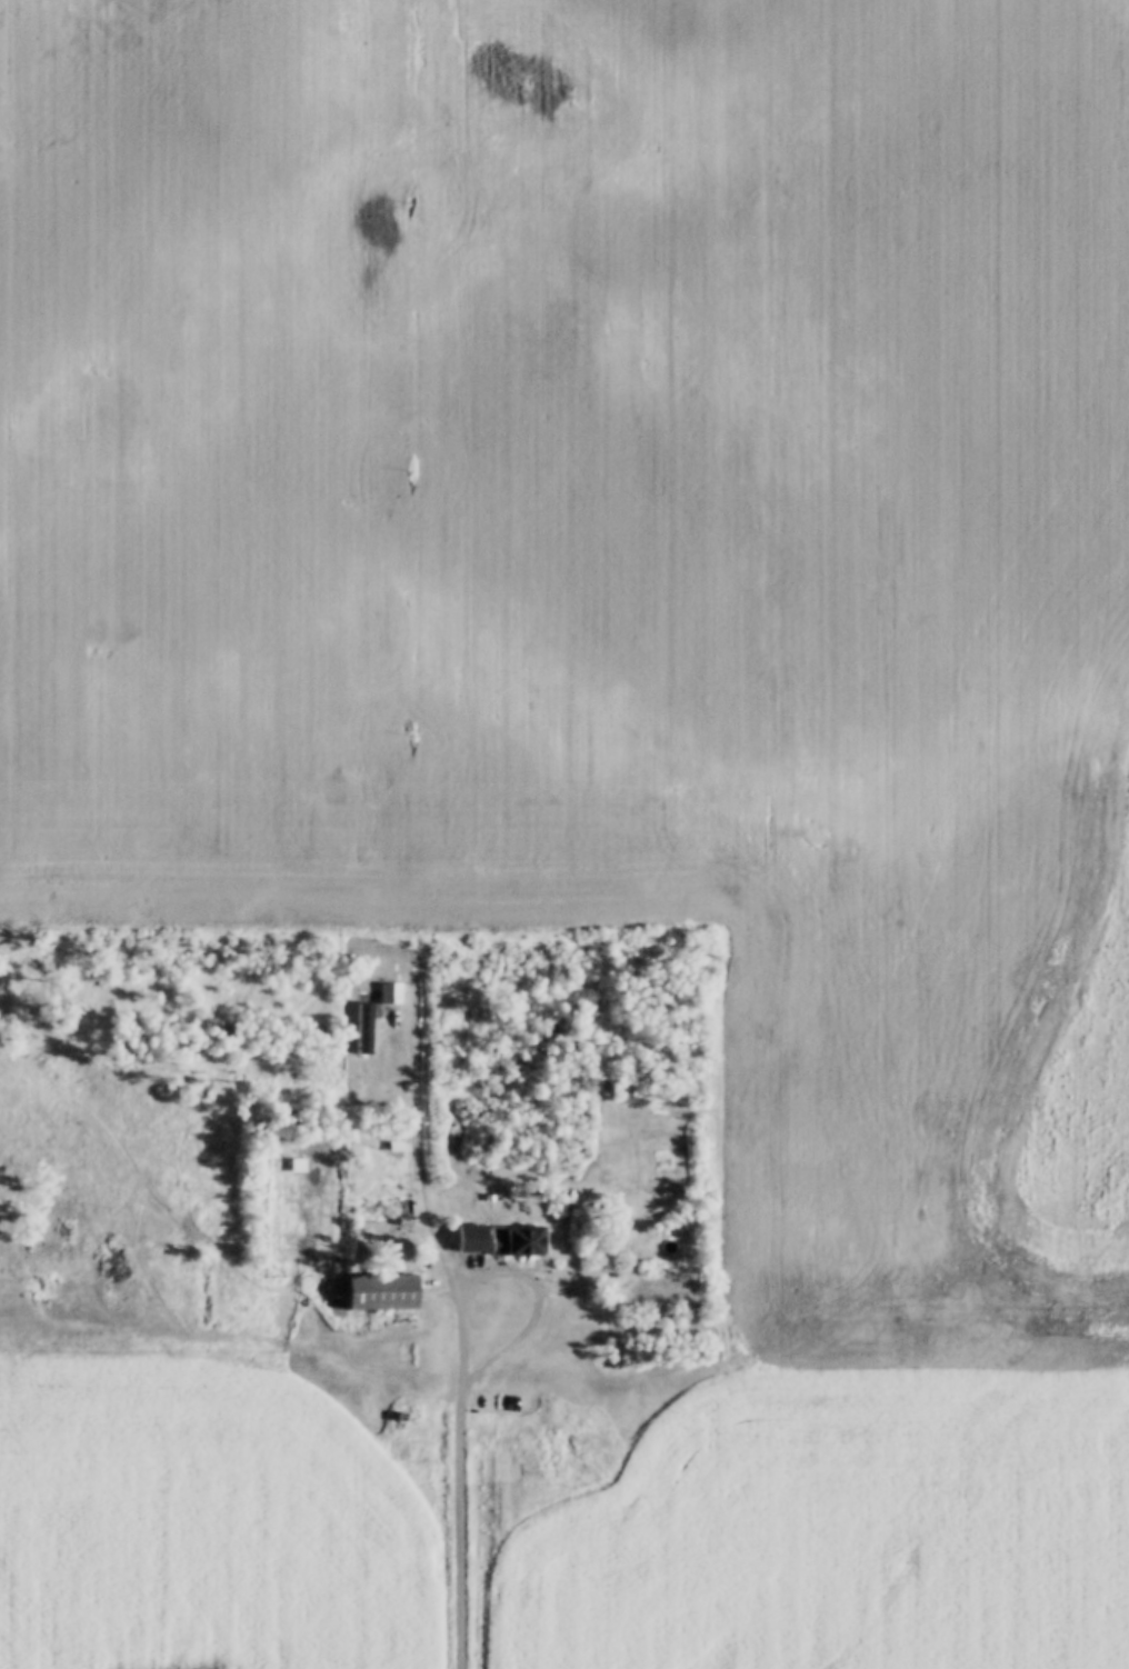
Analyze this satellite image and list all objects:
road: (210, 1235)
building: (521, 1242)
road: (526, 1269)
building: (384, 1292)
road: (837, 1297)
building: (402, 1417)
building: (556, 1452)
road: (460, 1520)

